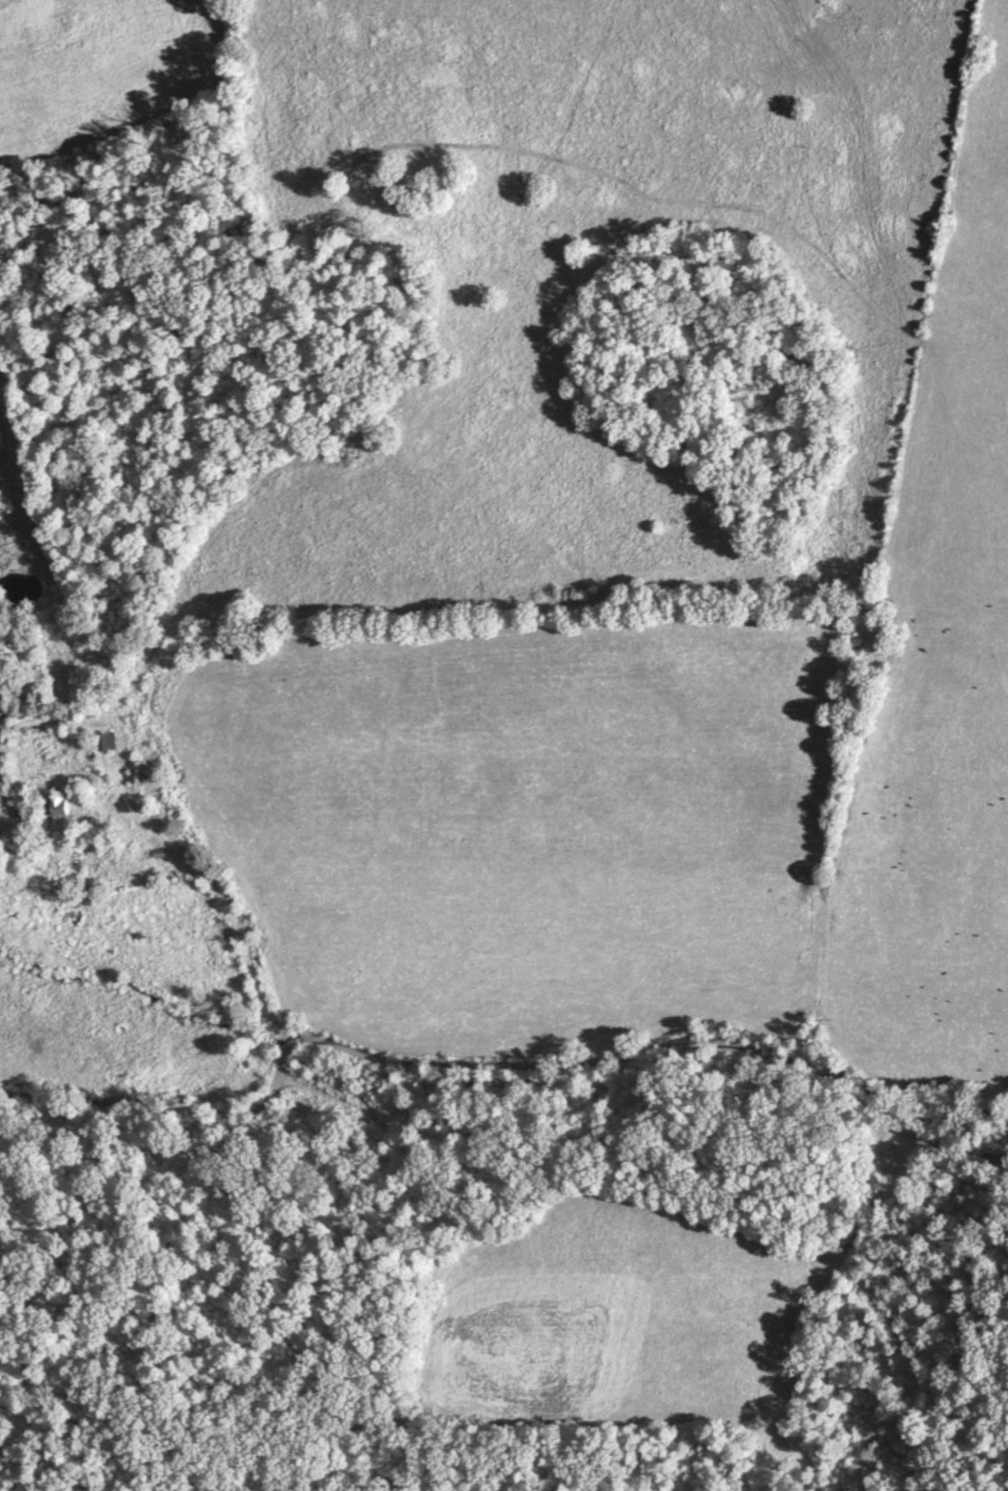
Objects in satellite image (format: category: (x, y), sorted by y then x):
building: (109, 740)
building: (139, 771)
building: (61, 806)
road: (228, 902)
road: (661, 1046)
road: (179, 1146)

